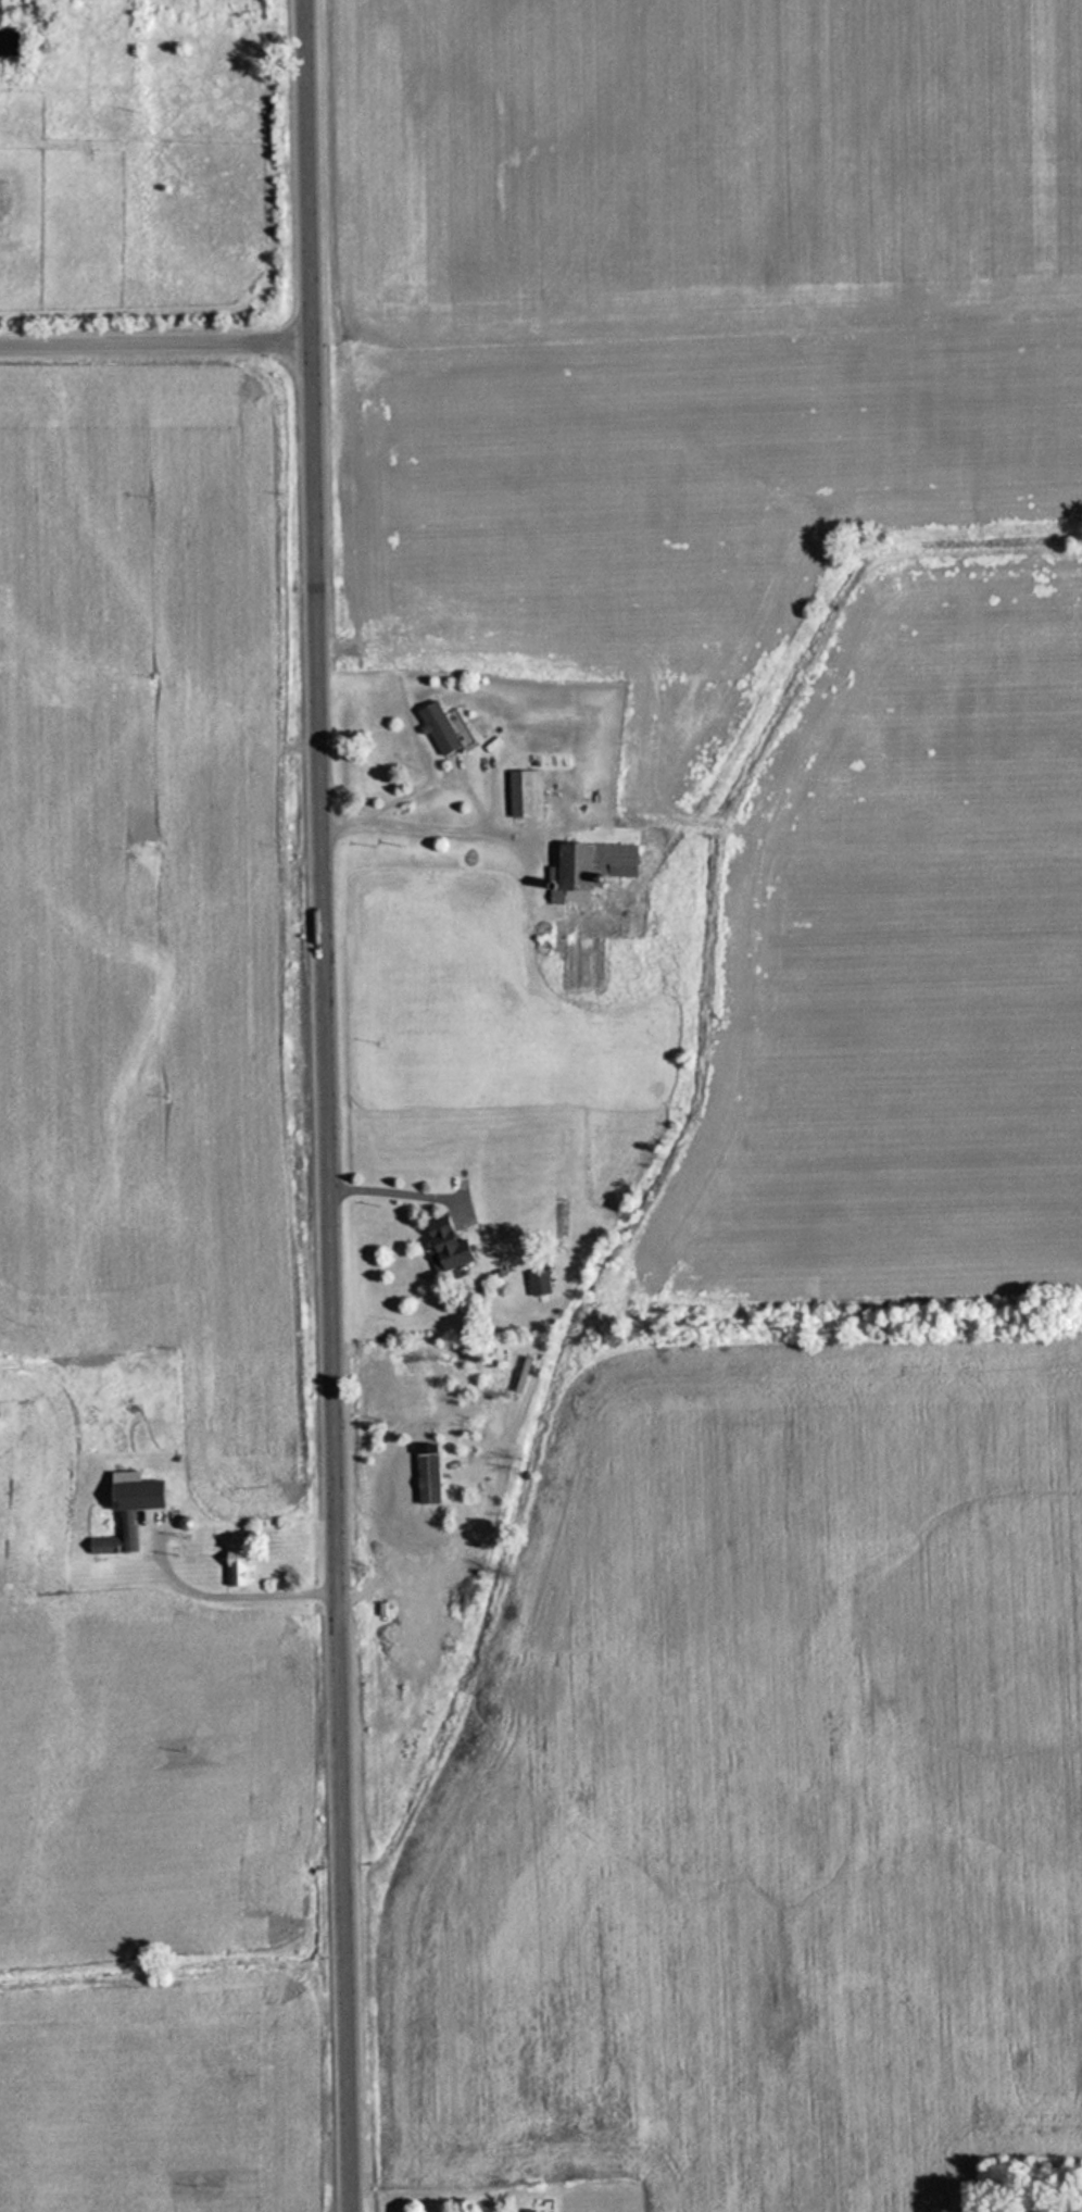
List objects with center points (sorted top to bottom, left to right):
road: (156, 353)
building: (436, 726)
building: (524, 792)
building: (593, 861)
road: (331, 1105)
building: (442, 1244)
building: (536, 1280)
building: (125, 1512)
building: (234, 1570)

